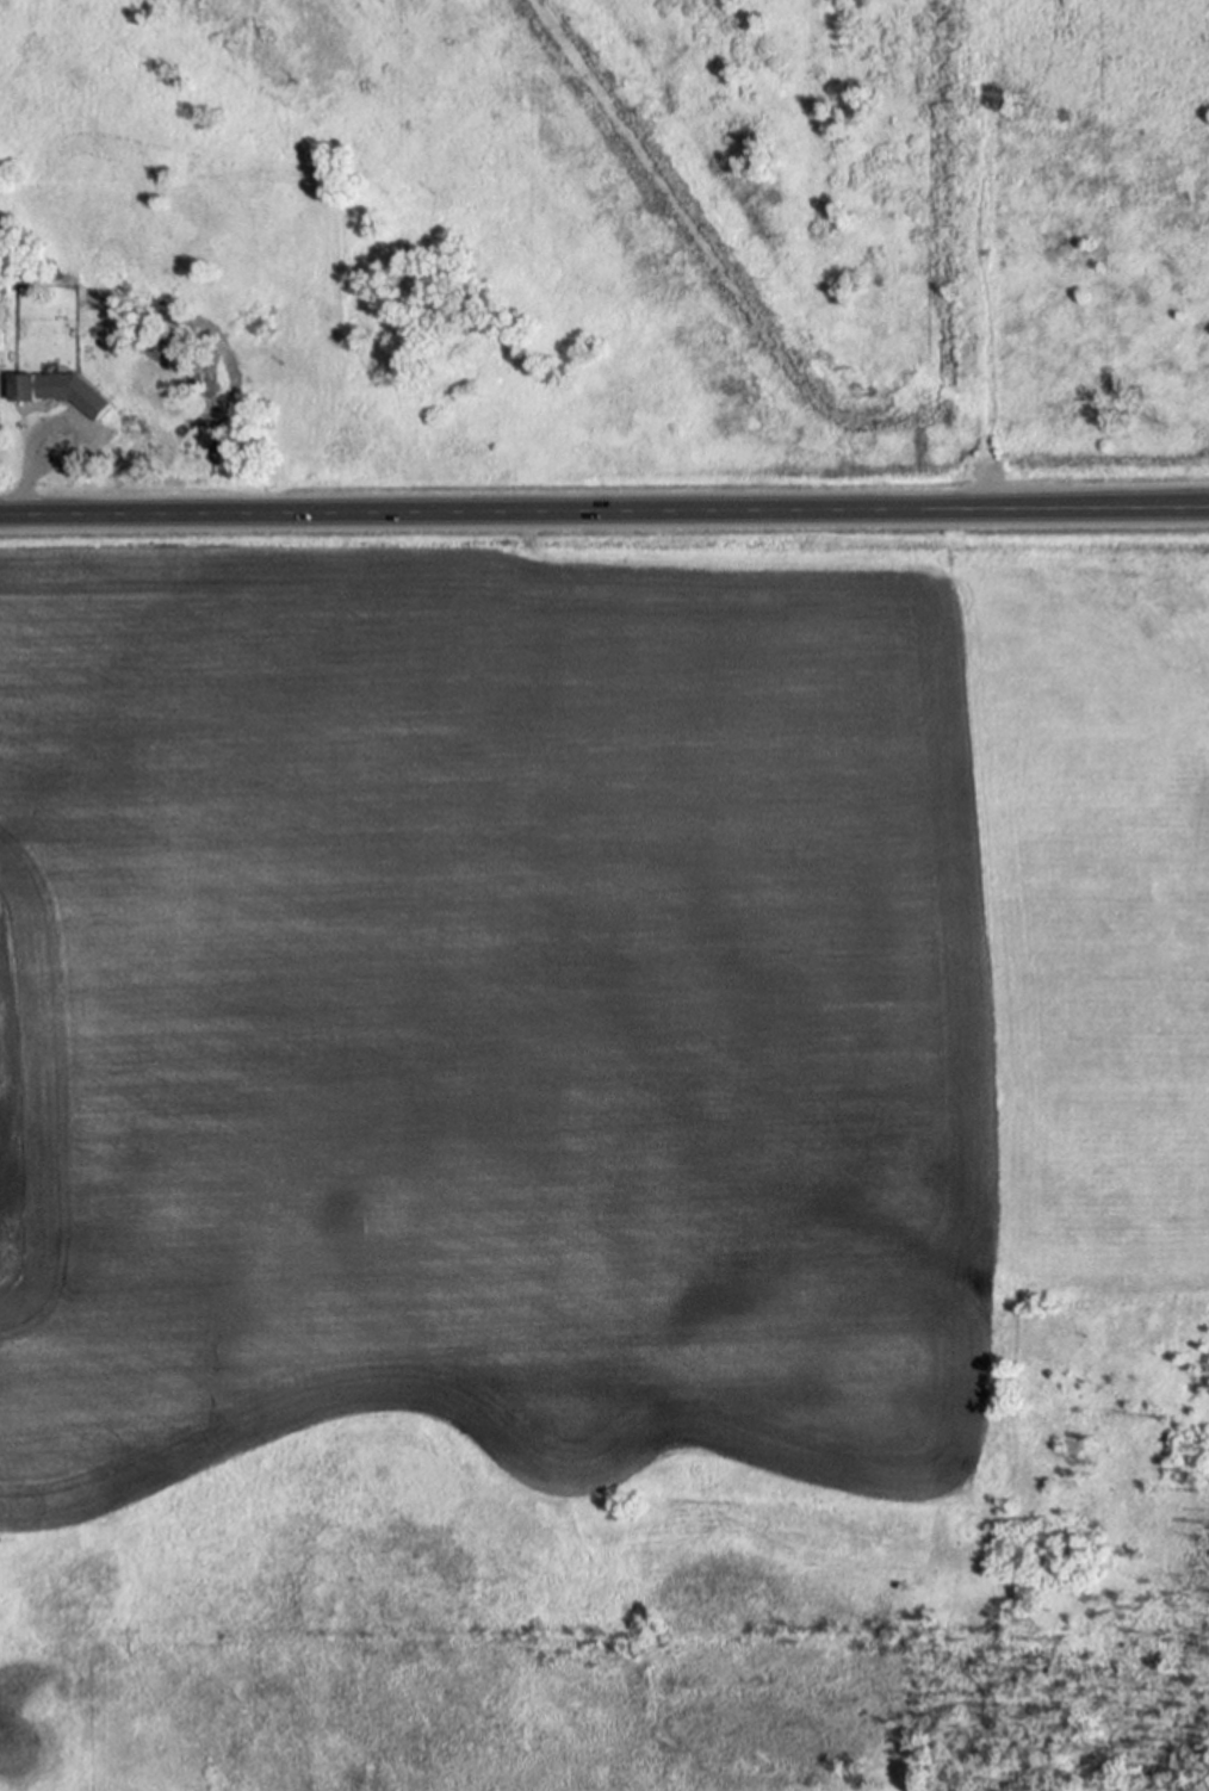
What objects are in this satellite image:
building: (982, 253)
building: (134, 333)
building: (51, 370)
building: (60, 391)
building: (130, 411)
road: (604, 513)

